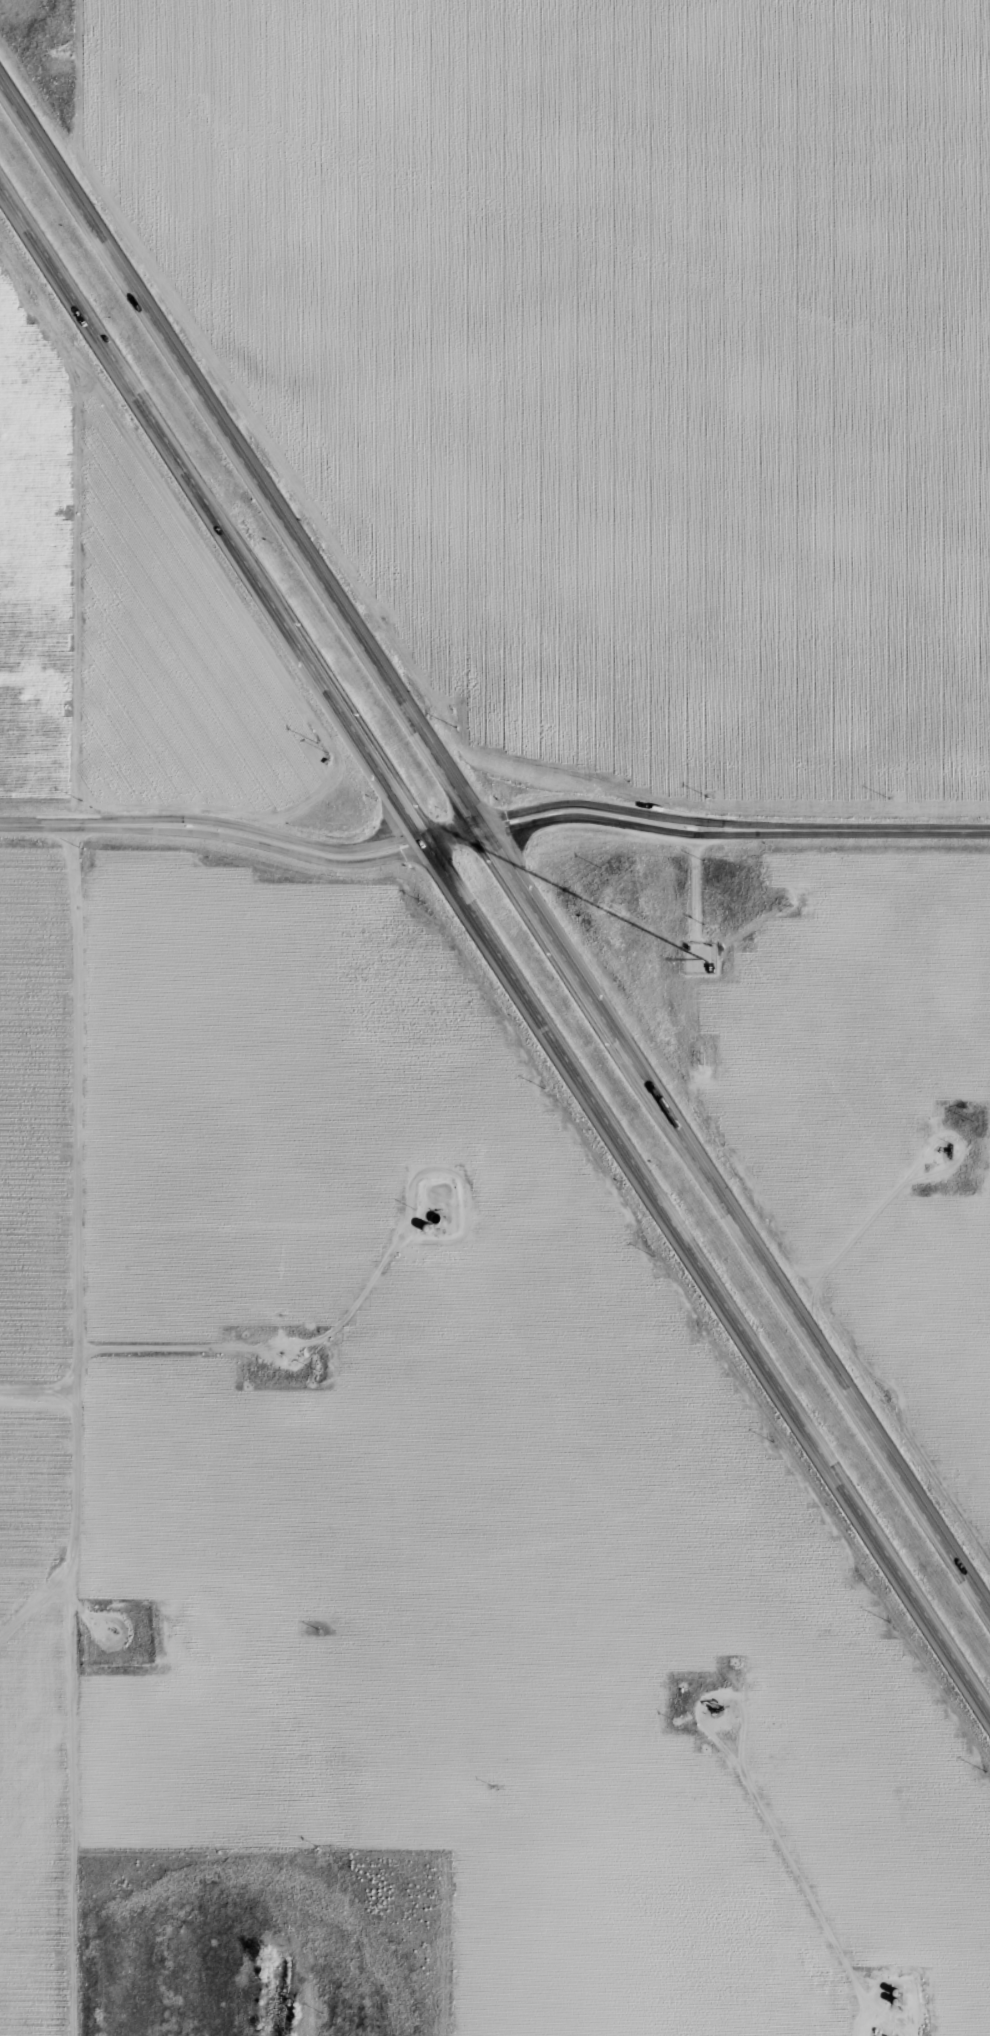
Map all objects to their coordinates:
road: (732, 831)
road: (242, 841)
road: (494, 858)
road: (494, 954)
road: (48, 1200)

